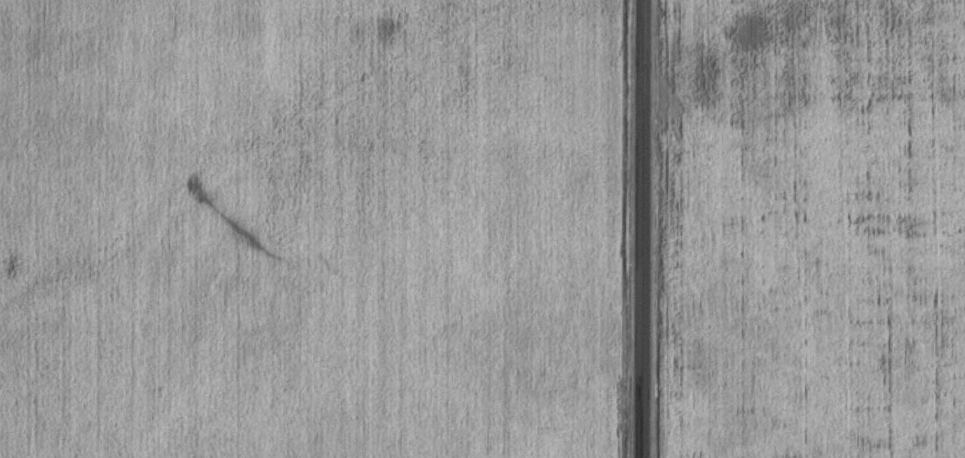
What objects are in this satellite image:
road: (640, 229)

